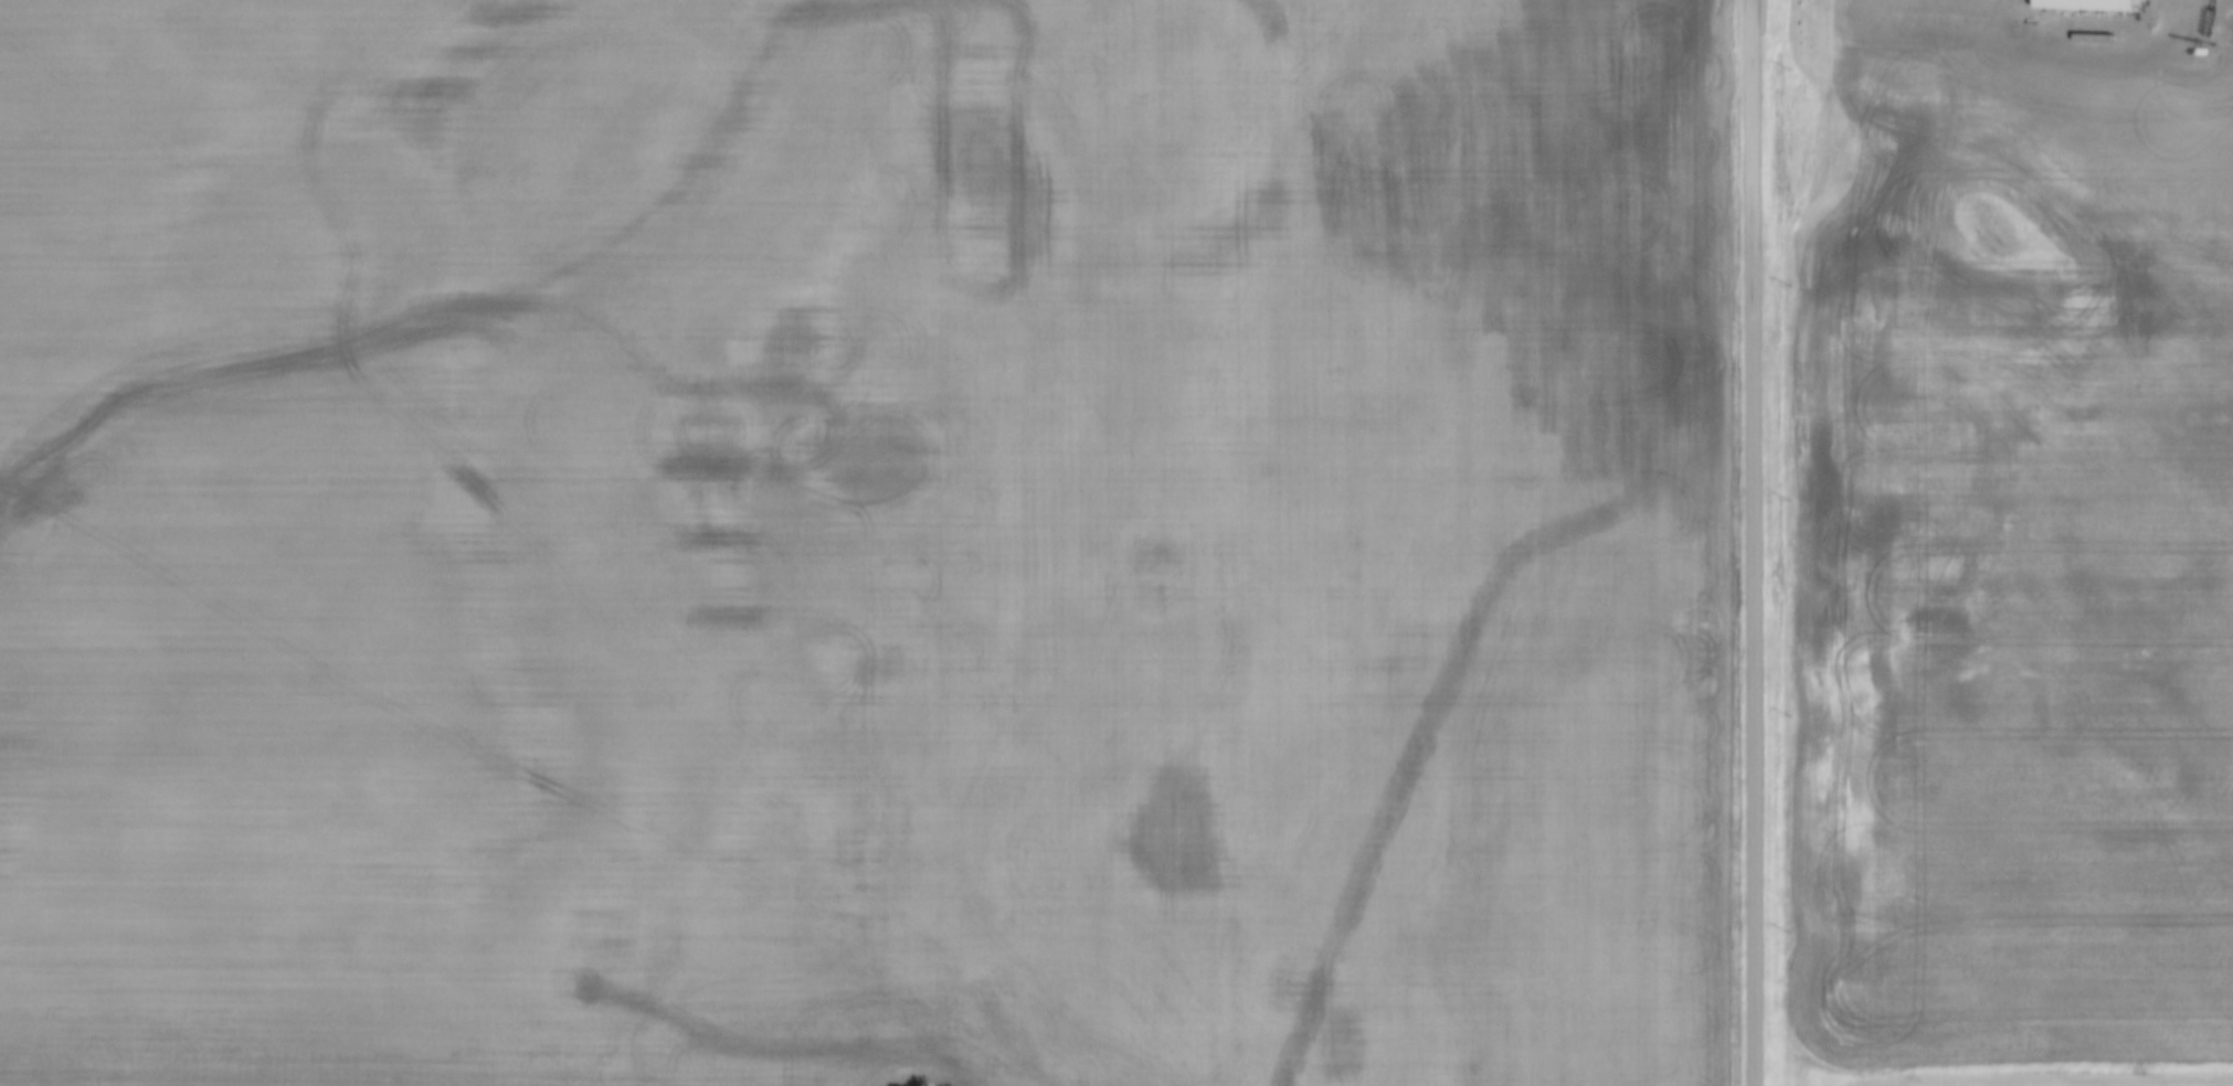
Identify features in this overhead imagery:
building: (2097, 2)
road: (1752, 543)

